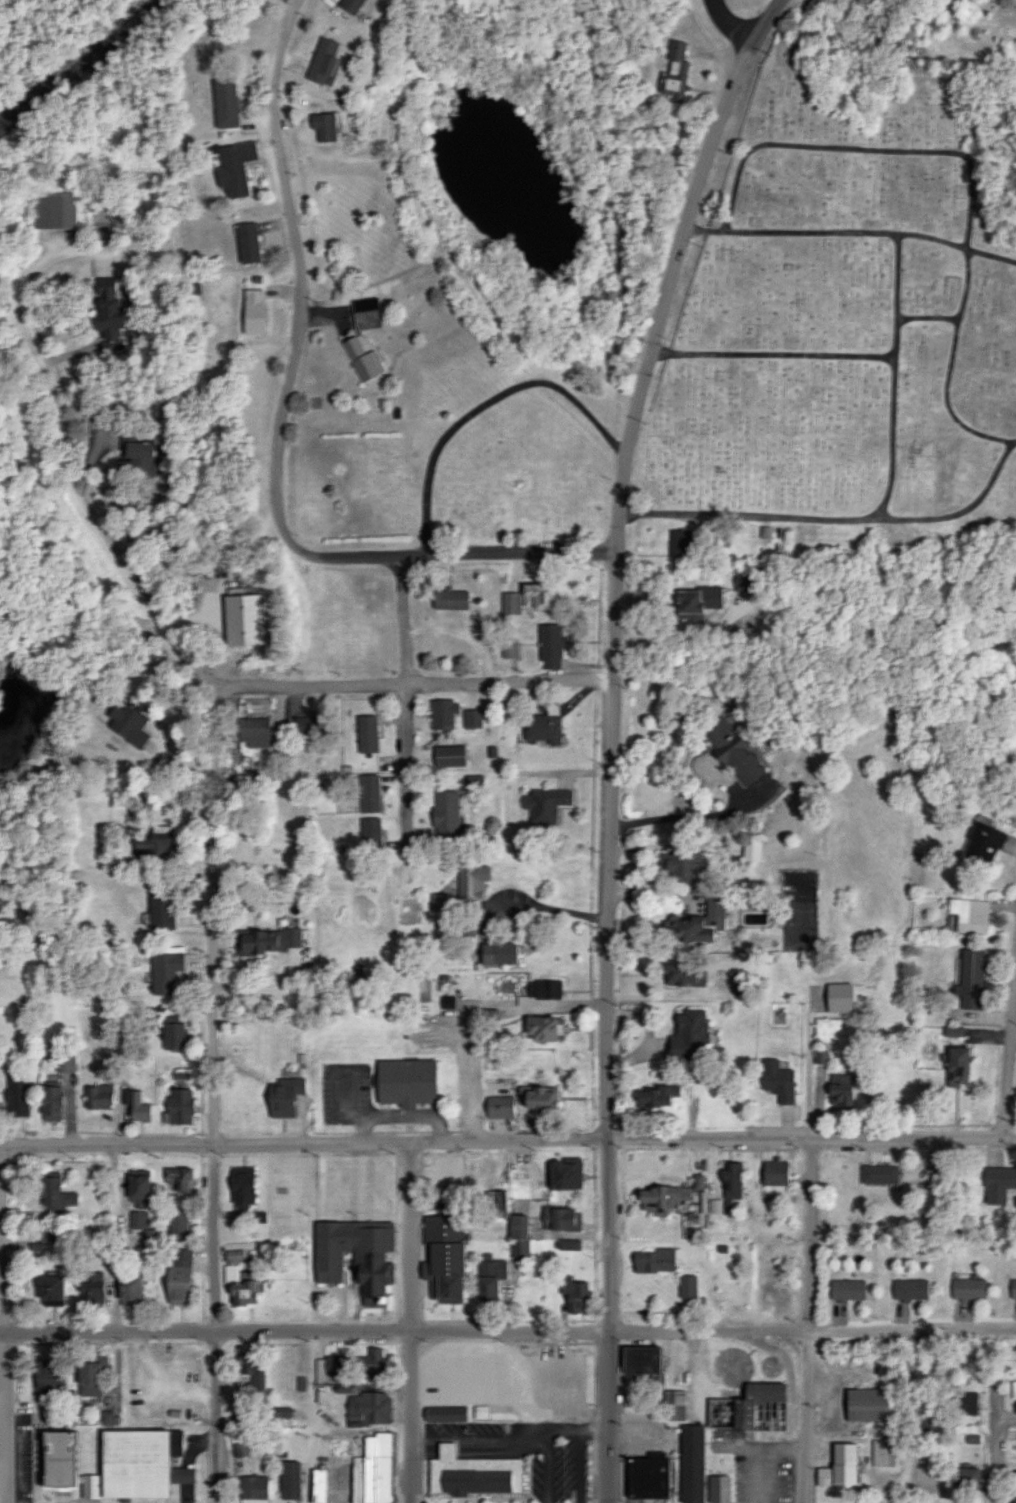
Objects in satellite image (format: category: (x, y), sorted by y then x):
building: (351, 5)
road: (769, 17)
road: (722, 29)
building: (323, 60)
railway: (87, 69)
building: (675, 72)
building: (225, 102)
building: (323, 126)
building: (234, 167)
road: (609, 184)
building: (56, 211)
road: (851, 233)
building: (247, 242)
building: (107, 307)
building: (253, 311)
building: (365, 312)
park: (846, 313)
road: (301, 330)
building: (353, 346)
road: (773, 357)
building: (368, 365)
road: (897, 378)
road: (619, 390)
road: (488, 407)
road: (57, 430)
building: (132, 433)
building: (140, 456)
park: (462, 473)
road: (834, 517)
building: (680, 541)
road: (509, 553)
building: (748, 580)
building: (527, 597)
building: (449, 599)
building: (695, 601)
building: (243, 618)
building: (550, 645)
building: (510, 647)
road: (427, 682)
road: (221, 686)
road: (406, 695)
building: (443, 712)
building: (471, 718)
building: (128, 723)
building: (544, 725)
building: (306, 726)
building: (255, 731)
building: (367, 733)
building: (733, 751)
building: (448, 755)
road: (610, 758)
building: (369, 793)
building: (545, 804)
building: (445, 813)
building: (370, 832)
building: (985, 839)
building: (152, 844)
building: (753, 849)
building: (680, 864)
building: (472, 880)
road: (545, 908)
building: (160, 910)
building: (970, 915)
building: (697, 921)
building: (268, 940)
building: (497, 953)
road: (295, 965)
building: (165, 971)
building: (683, 975)
building: (971, 979)
building: (743, 981)
building: (839, 997)
road: (669, 998)
building: (447, 1002)
building: (491, 1013)
building: (545, 1027)
building: (953, 1031)
building: (688, 1034)
building: (173, 1035)
building: (66, 1063)
building: (181, 1074)
building: (777, 1080)
building: (404, 1082)
road: (1011, 1082)
building: (841, 1089)
building: (17, 1094)
building: (101, 1096)
building: (657, 1096)
building: (284, 1097)
building: (539, 1097)
building: (49, 1101)
building: (179, 1106)
building: (499, 1107)
building: (140, 1108)
road: (508, 1144)
road: (213, 1172)
building: (564, 1173)
building: (776, 1173)
building: (879, 1174)
building: (181, 1178)
building: (732, 1180)
building: (699, 1181)
building: (998, 1183)
building: (242, 1185)
building: (54, 1191)
building: (139, 1197)
building: (448, 1199)
building: (498, 1199)
building: (673, 1201)
building: (716, 1205)
building: (562, 1219)
building: (179, 1223)
building: (519, 1236)
road: (120, 1240)
building: (153, 1240)
building: (570, 1244)
building: (445, 1254)
building: (354, 1255)
building: (657, 1260)
building: (180, 1274)
building: (490, 1277)
building: (239, 1280)
building: (688, 1287)
building: (93, 1288)
building: (910, 1289)
building: (969, 1289)
building: (1013, 1289)
building: (50, 1290)
building: (130, 1290)
building: (847, 1290)
building: (574, 1294)
road: (811, 1320)
road: (3, 1324)
road: (415, 1324)
road: (508, 1333)
building: (640, 1359)
building: (372, 1361)
building: (331, 1367)
building: (253, 1370)
building: (90, 1374)
building: (49, 1377)
building: (1013, 1390)
building: (967, 1404)
building: (675, 1405)
building: (867, 1405)
building: (369, 1408)
building: (445, 1414)
building: (742, 1415)
road: (1011, 1415)
building: (108, 1417)
building: (931, 1426)
building: (242, 1449)
building: (883, 1453)
building: (56, 1459)
road: (1005, 1459)
building: (137, 1465)
building: (838, 1467)
building: (372, 1471)
building: (702, 1471)
building: (471, 1473)
building: (646, 1478)
building: (966, 1478)
building: (290, 1480)
building: (319, 1485)
building: (254, 1487)

